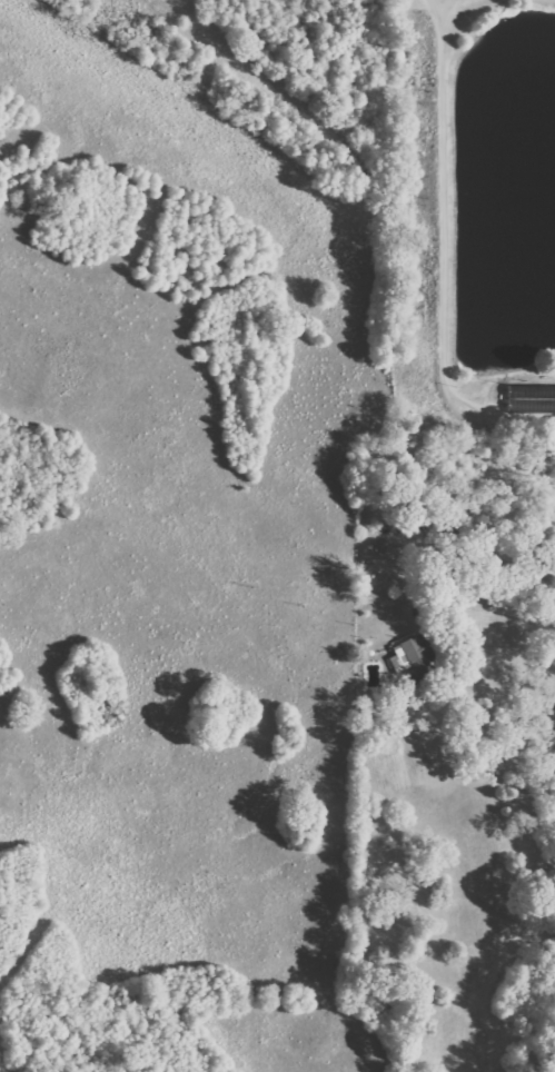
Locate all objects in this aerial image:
road: (439, 251)
road: (506, 374)
building: (533, 398)
road: (508, 618)
building: (416, 656)

